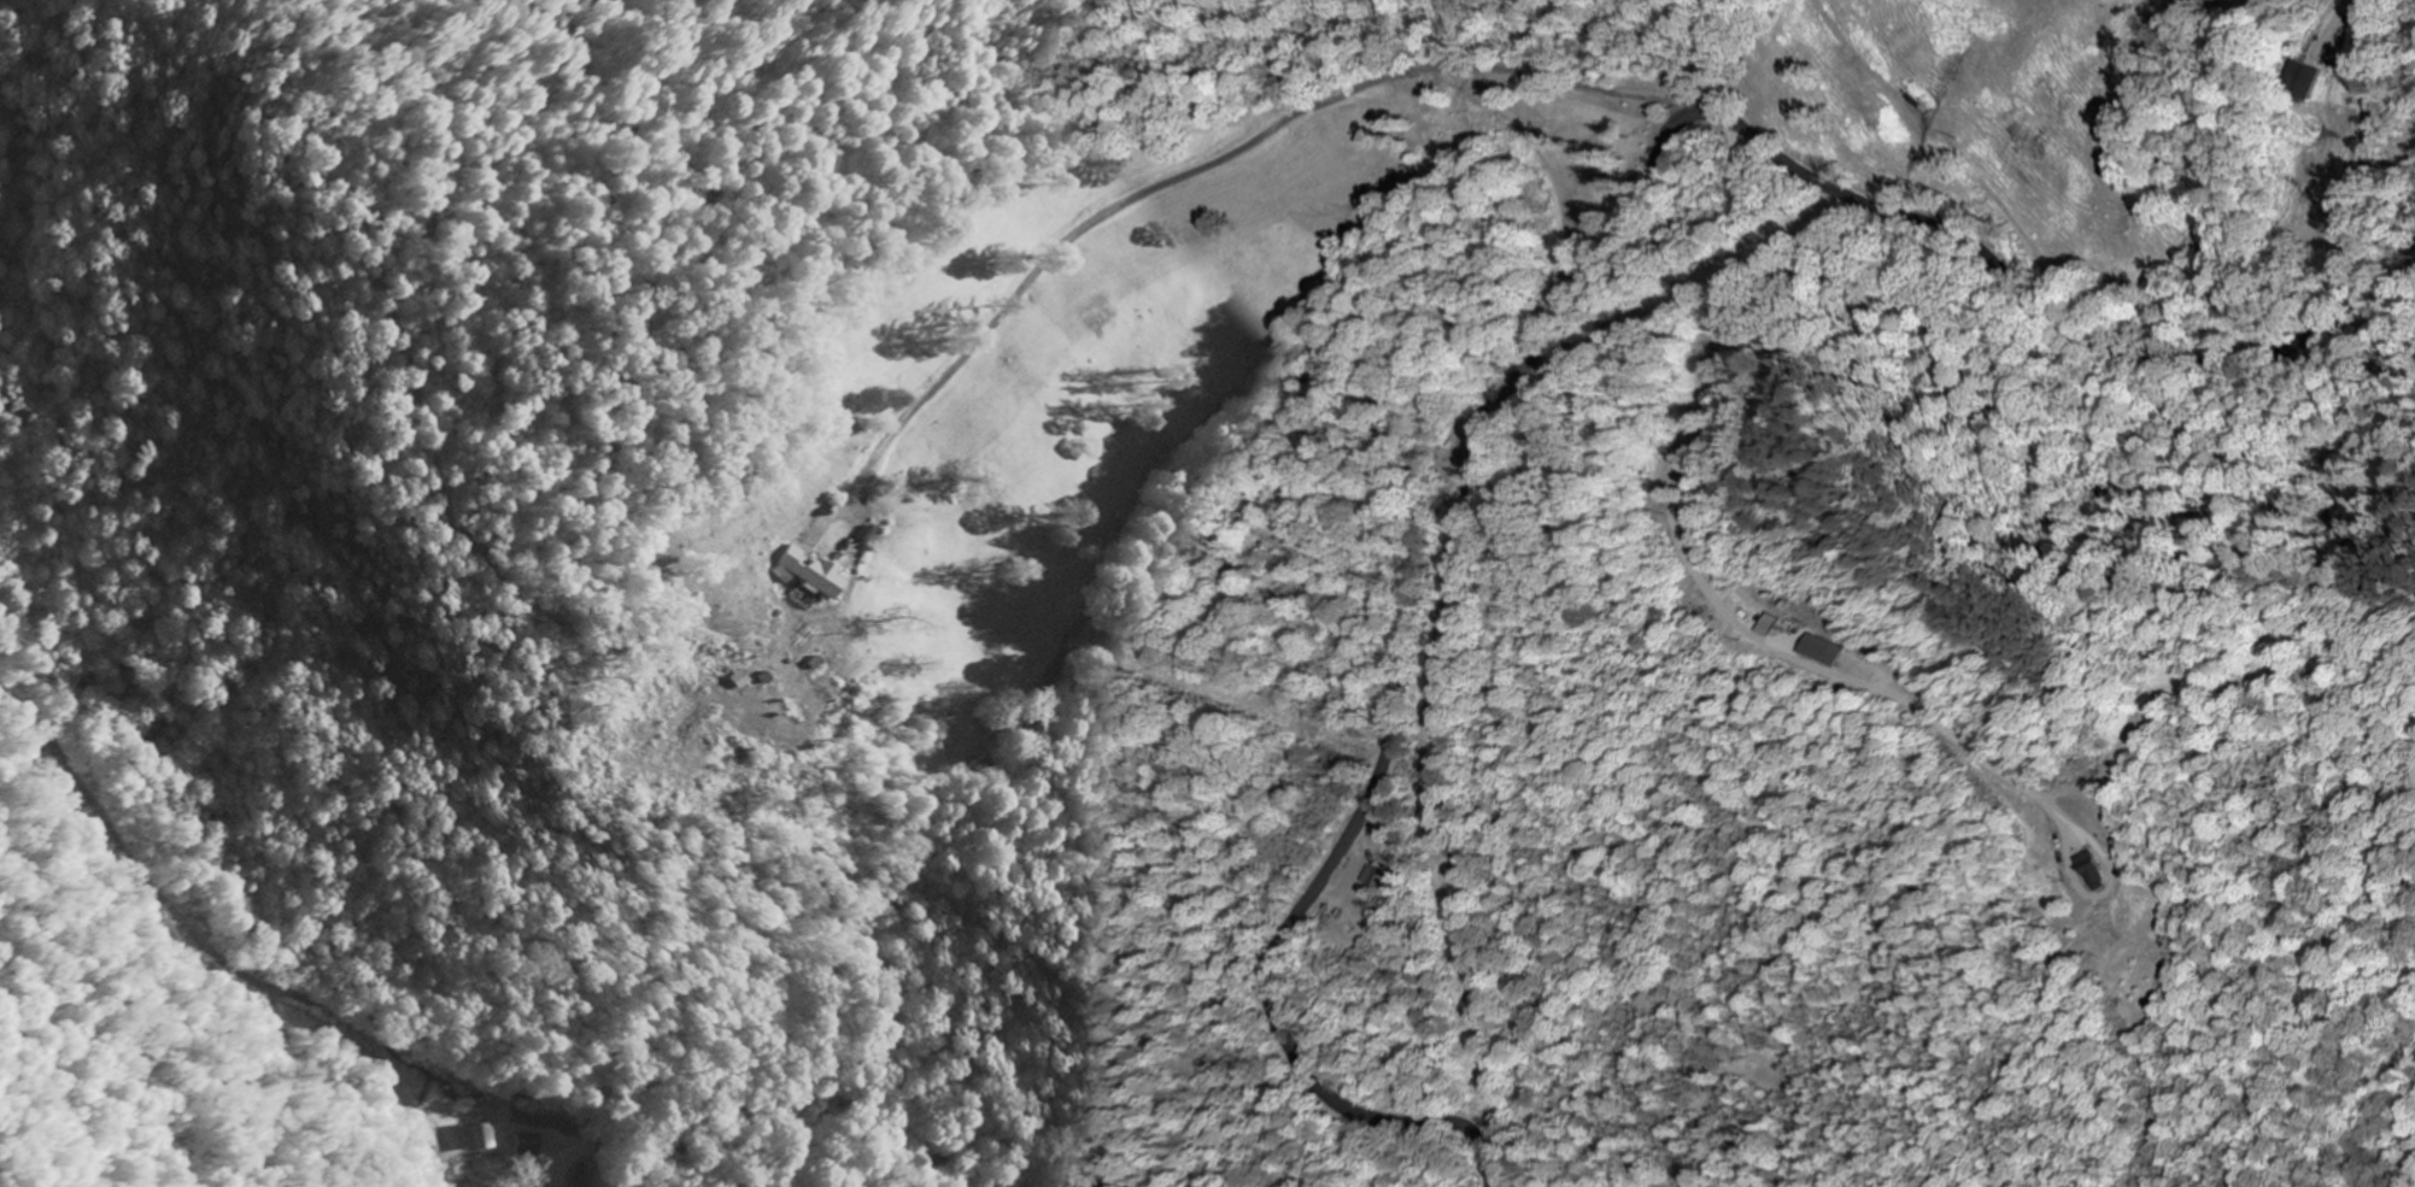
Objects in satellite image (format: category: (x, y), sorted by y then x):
road: (1192, 171)
road: (1616, 225)
road: (1690, 560)
building: (815, 571)
building: (808, 597)
building: (1778, 624)
building: (1833, 650)
building: (744, 676)
building: (2097, 870)
building: (1374, 876)
road: (204, 970)
building: (477, 1135)
building: (527, 1142)

